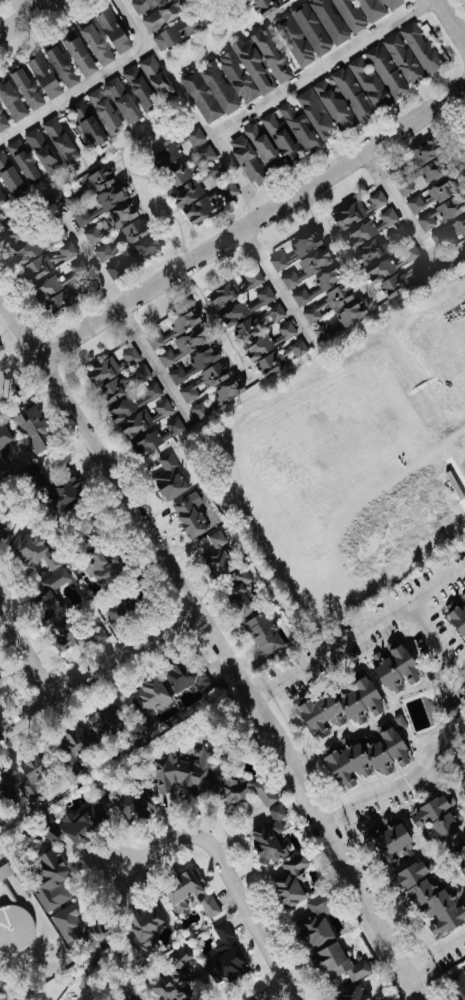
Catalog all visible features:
building: (1, 0)
building: (256, 0)
building: (147, 4)
building: (380, 8)
building: (166, 15)
road: (26, 16)
building: (341, 18)
road: (451, 20)
building: (117, 31)
building: (178, 33)
building: (305, 35)
road: (464, 36)
building: (100, 44)
building: (424, 50)
building: (82, 56)
building: (265, 62)
building: (396, 66)
building: (64, 67)
building: (45, 77)
road: (95, 77)
building: (238, 78)
building: (371, 86)
building: (27, 88)
building: (139, 88)
building: (210, 92)
road: (280, 93)
building: (353, 94)
building: (11, 100)
building: (122, 101)
building: (335, 105)
building: (105, 110)
building: (317, 114)
building: (3, 122)
building: (89, 122)
building: (300, 129)
building: (60, 139)
building: (273, 144)
building: (44, 152)
building: (204, 156)
building: (430, 158)
building: (178, 159)
building: (23, 161)
building: (249, 161)
building: (10, 175)
building: (223, 181)
building: (404, 188)
building: (188, 194)
building: (102, 195)
building: (2, 196)
building: (437, 204)
road: (402, 208)
building: (201, 209)
building: (358, 211)
building: (110, 223)
building: (372, 227)
building: (449, 234)
building: (12, 235)
road: (232, 235)
building: (132, 243)
road: (451, 255)
building: (308, 259)
building: (281, 262)
building: (116, 270)
building: (49, 275)
building: (253, 278)
road: (278, 287)
building: (228, 292)
building: (305, 296)
building: (336, 300)
building: (247, 307)
road: (123, 308)
building: (185, 321)
building: (259, 323)
building: (329, 333)
building: (184, 346)
building: (0, 350)
building: (260, 350)
building: (195, 364)
building: (112, 367)
building: (205, 382)
building: (126, 383)
building: (218, 399)
building: (139, 411)
building: (33, 429)
building: (5, 437)
building: (158, 437)
crop: (348, 459)
building: (4, 469)
building: (171, 479)
building: (66, 494)
building: (191, 517)
building: (3, 530)
building: (35, 553)
building: (218, 557)
building: (107, 567)
building: (242, 593)
building: (56, 610)
building: (458, 614)
building: (121, 615)
road: (365, 628)
building: (265, 634)
road: (438, 636)
road: (217, 644)
road: (28, 656)
building: (395, 667)
road: (98, 674)
building: (186, 676)
building: (3, 686)
road: (260, 695)
building: (152, 697)
building: (344, 708)
building: (109, 721)
building: (78, 742)
building: (369, 754)
building: (182, 771)
building: (36, 773)
road: (410, 773)
building: (241, 788)
building: (7, 789)
building: (125, 803)
road: (330, 809)
building: (2, 818)
building: (436, 818)
building: (83, 823)
building: (52, 832)
building: (271, 836)
building: (391, 840)
building: (5, 872)
road: (230, 877)
building: (293, 879)
building: (51, 880)
building: (190, 893)
building: (430, 897)
building: (315, 920)
building: (68, 923)
building: (148, 926)
building: (17, 927)
building: (96, 940)
road: (447, 945)
building: (226, 957)
road: (416, 965)
building: (340, 966)
building: (175, 980)
building: (456, 982)
road: (273, 991)
building: (356, 994)

